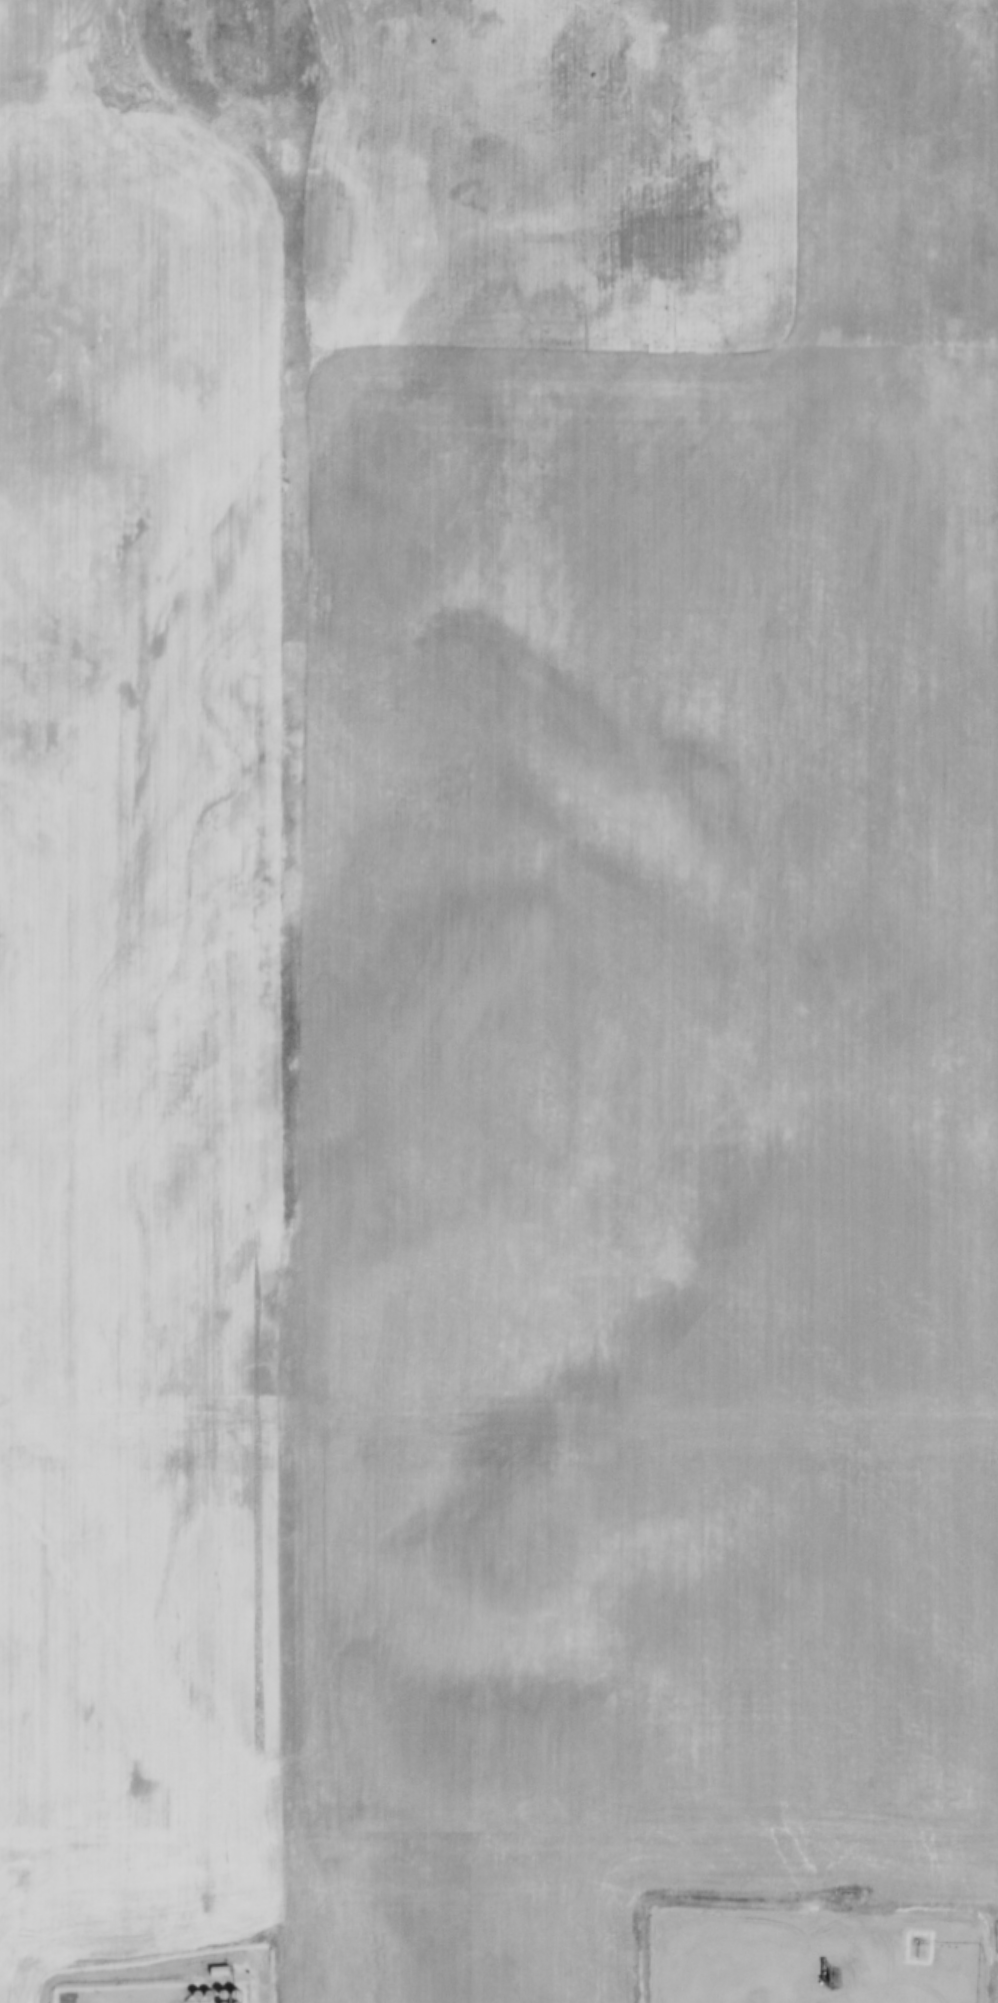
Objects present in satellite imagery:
building: (864, 1961)

